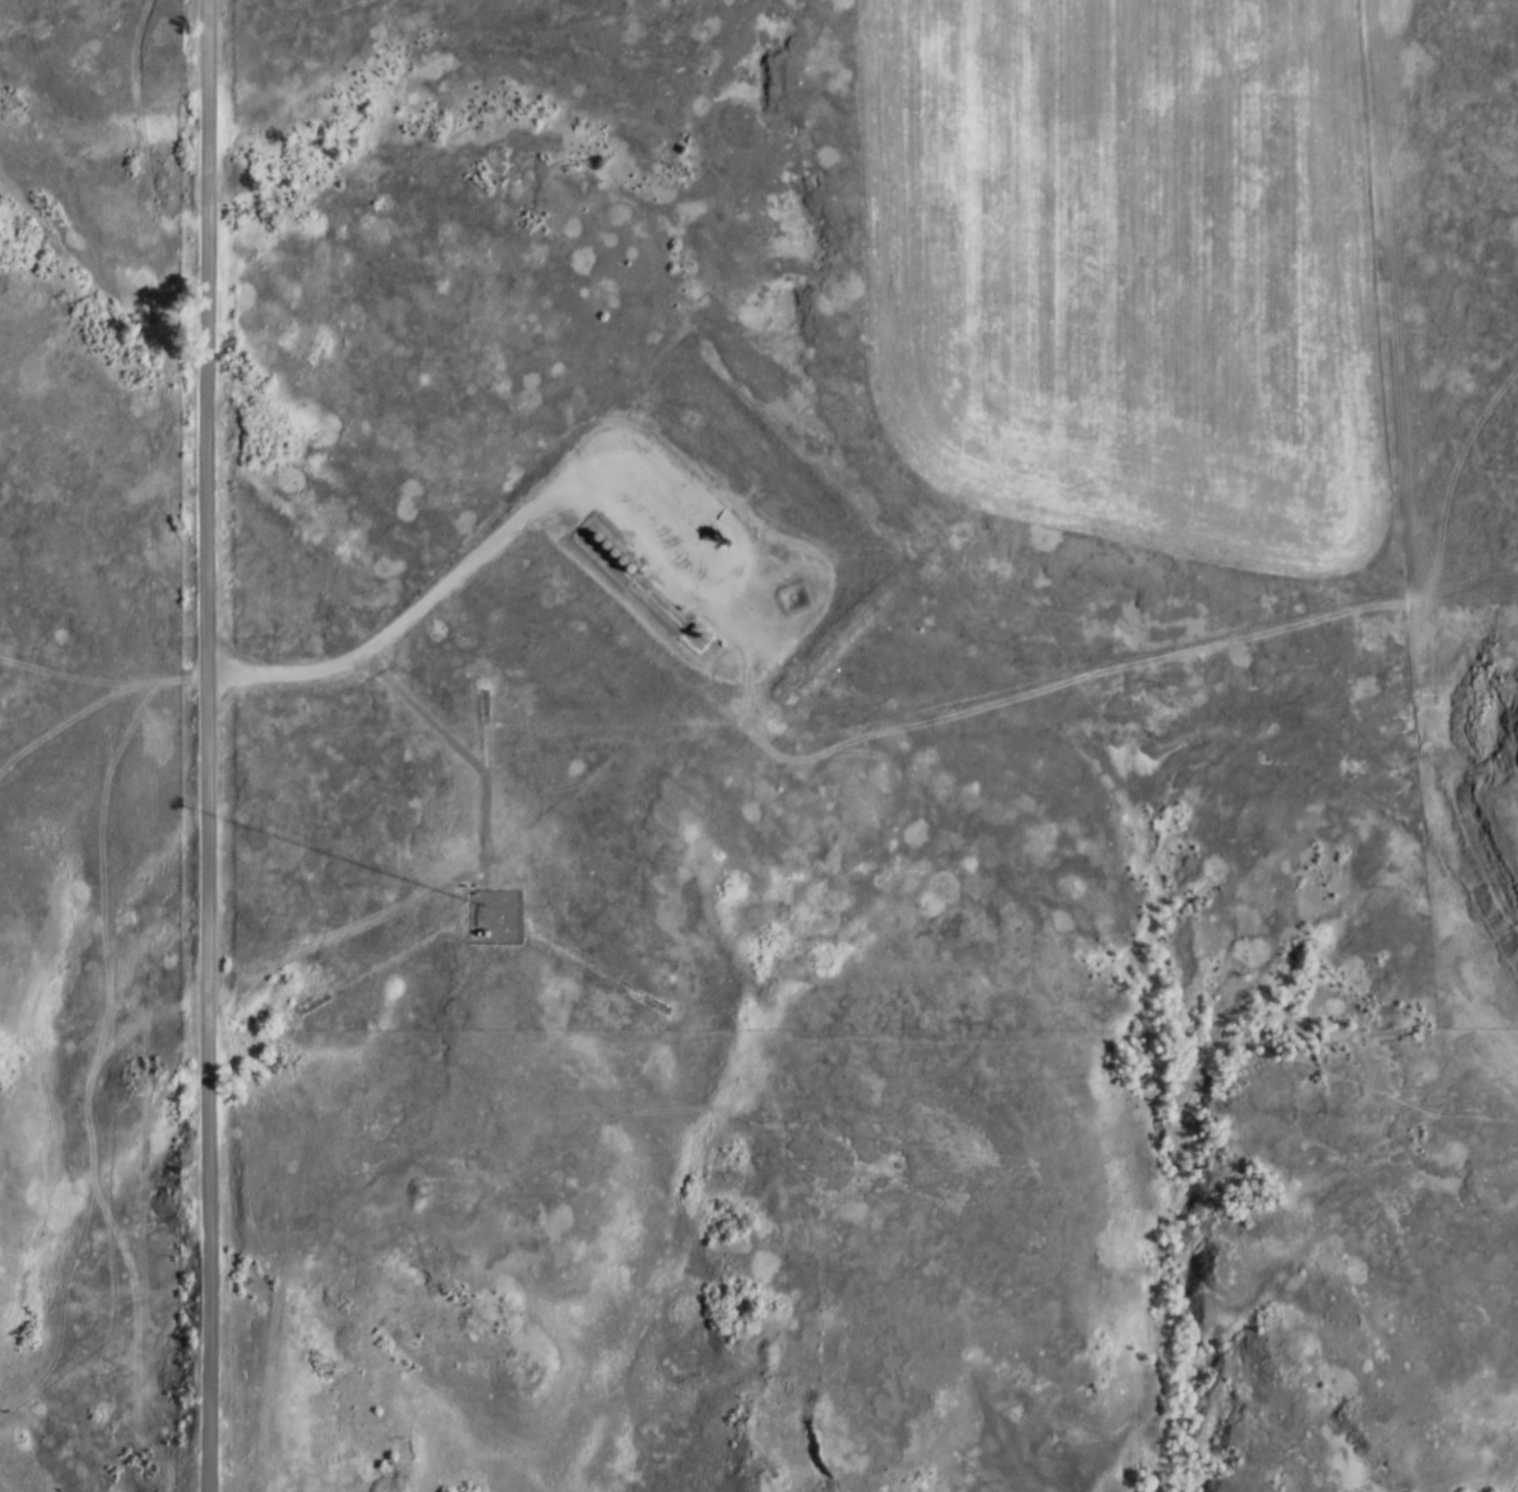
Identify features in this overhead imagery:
road: (204, 746)

